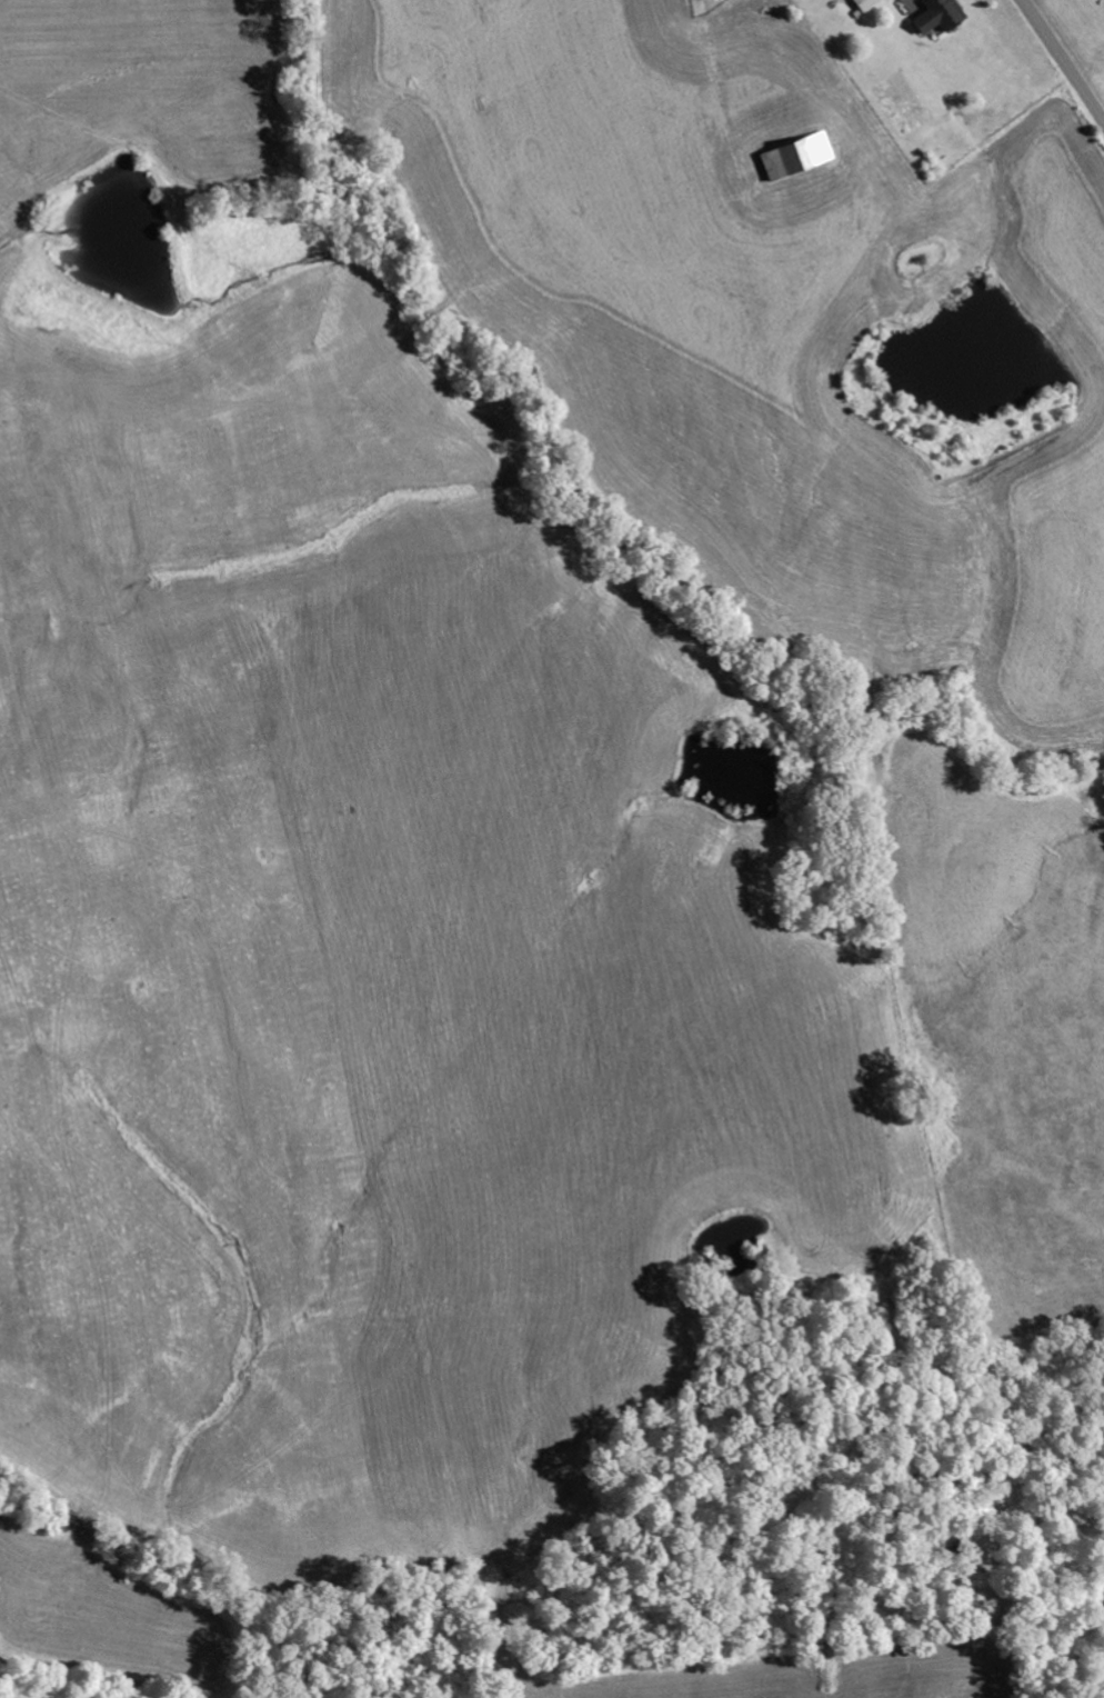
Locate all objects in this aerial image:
building: (866, 4)
building: (943, 16)
road: (1063, 61)
building: (800, 157)

